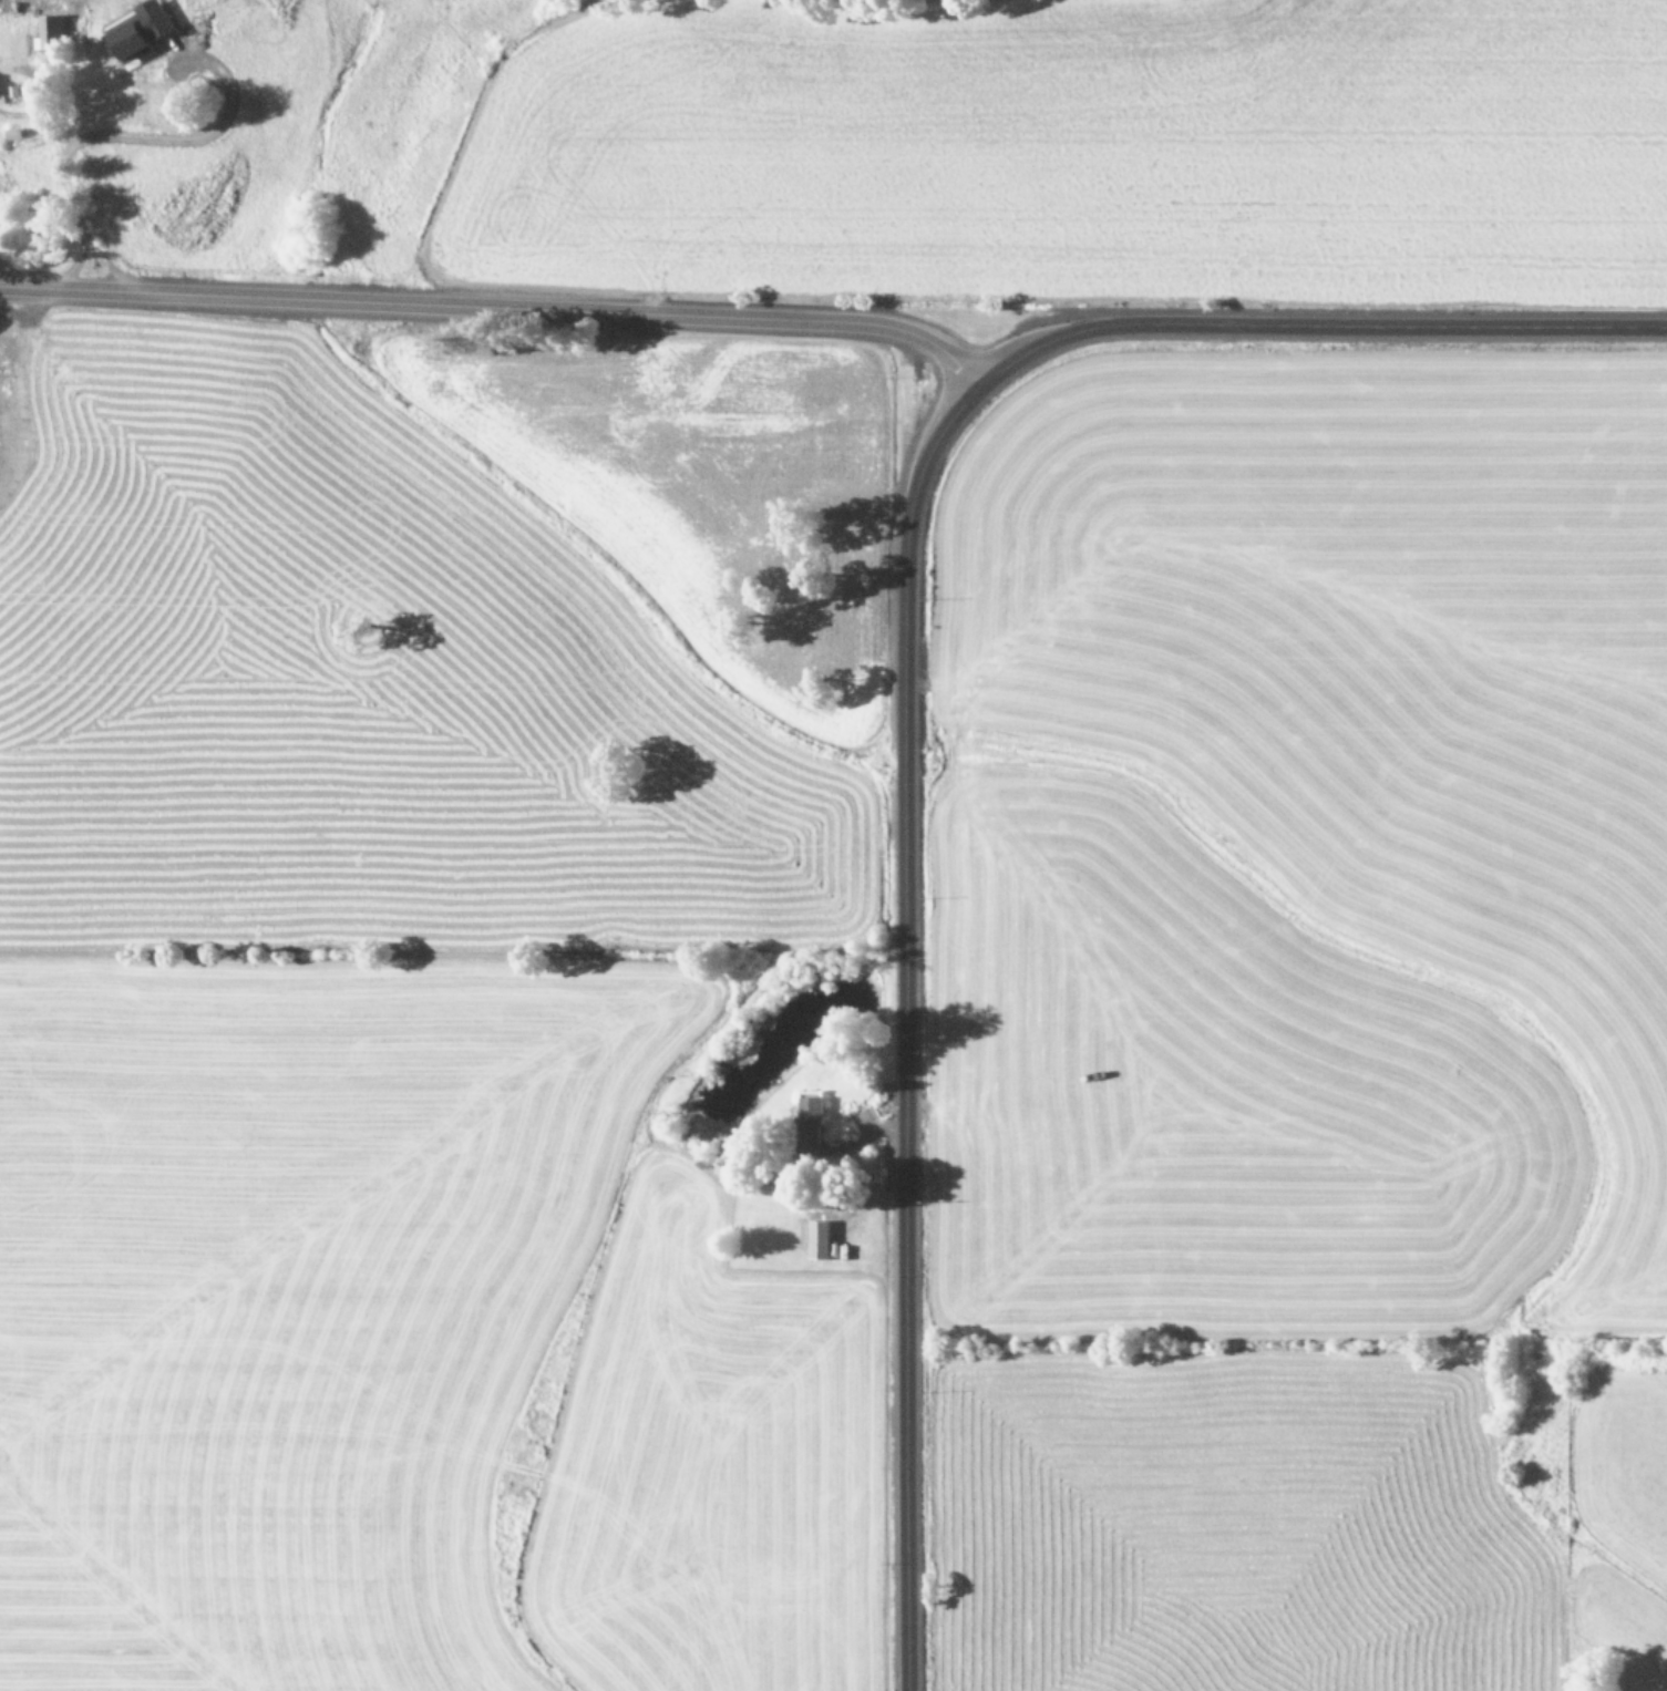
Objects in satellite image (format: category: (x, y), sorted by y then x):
building: (47, 30)
building: (137, 30)
road: (34, 76)
road: (21, 112)
building: (11, 132)
road: (182, 138)
crop: (1100, 144)
road: (63, 175)
road: (72, 262)
road: (116, 265)
road: (498, 302)
road: (1315, 320)
crop: (416, 907)
road: (908, 1025)
crop: (1304, 1035)
building: (810, 1118)
building: (814, 1236)

